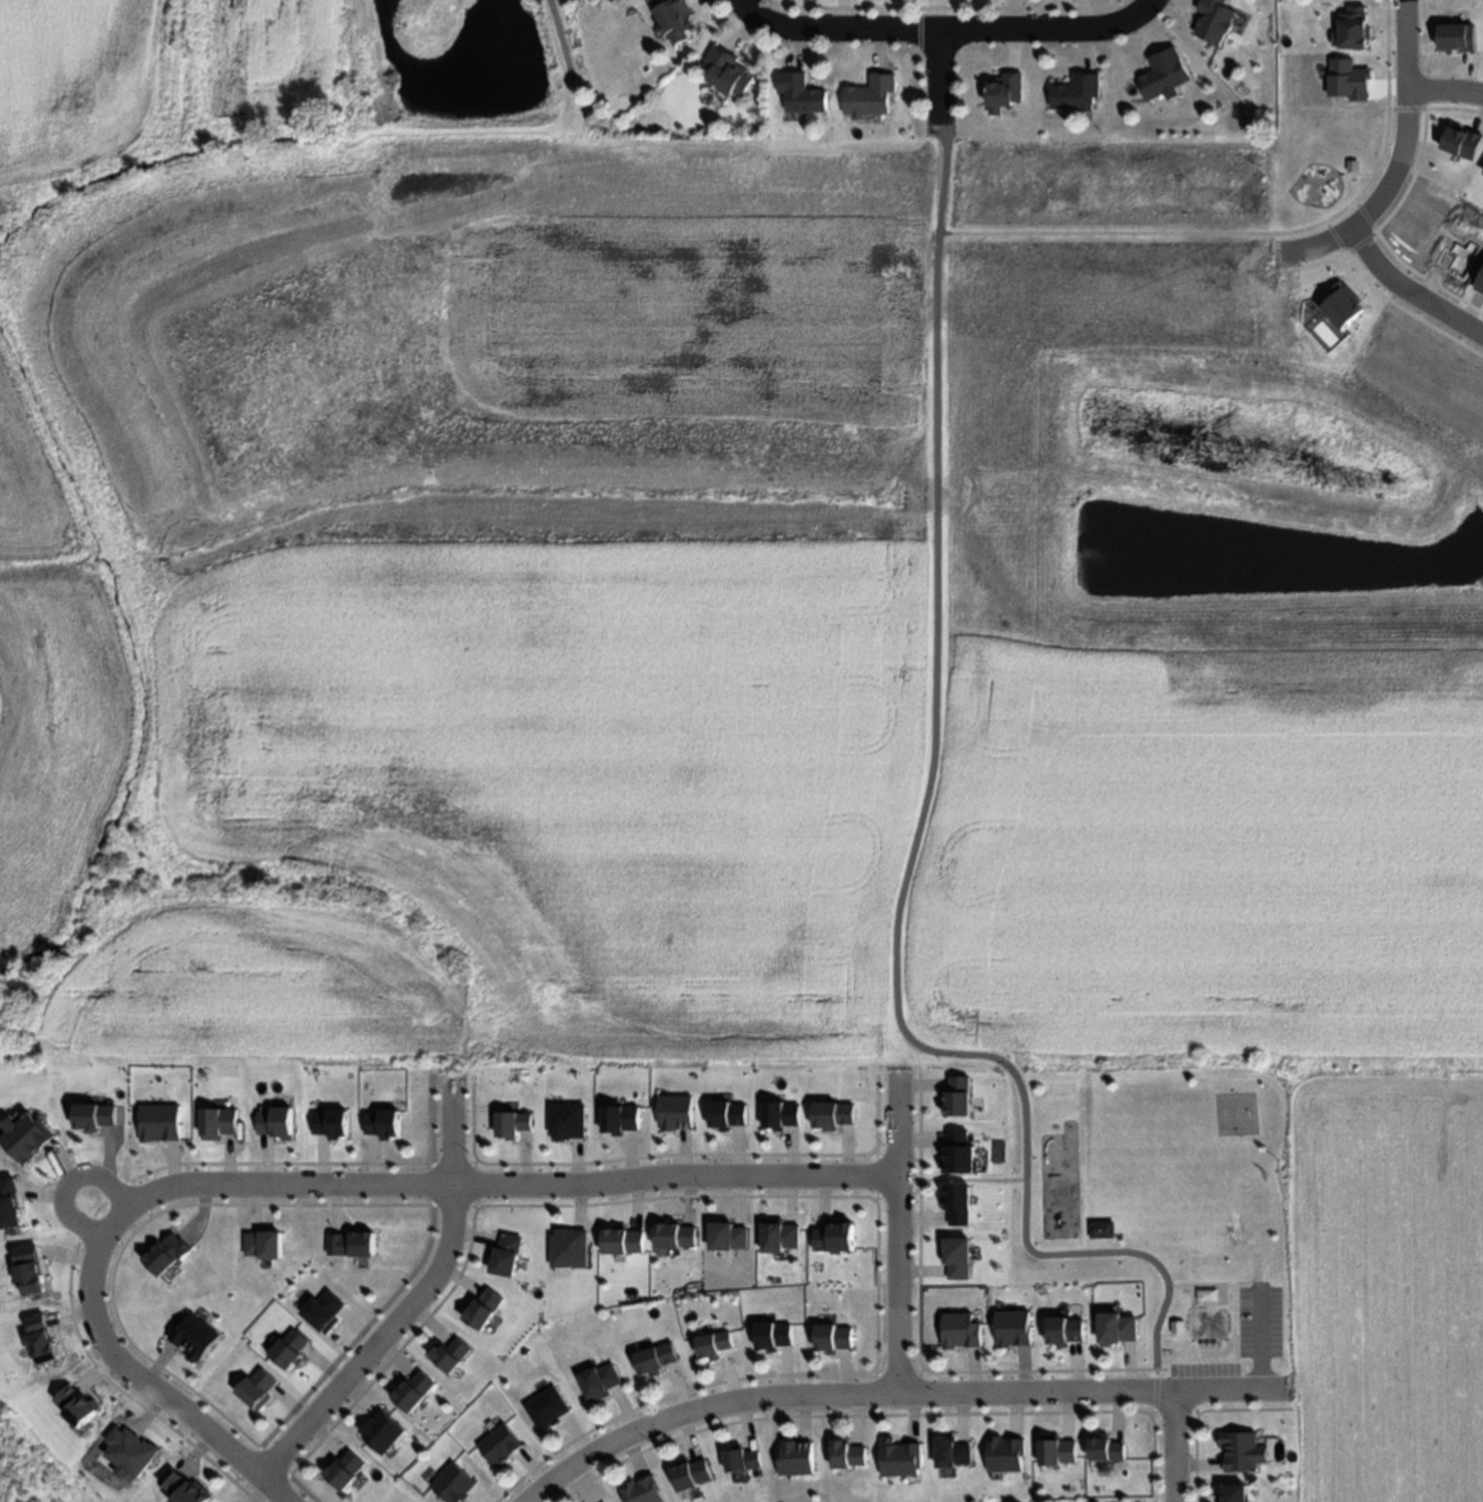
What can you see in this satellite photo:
road: (739, 3)
building: (677, 18)
building: (1210, 21)
road: (945, 32)
road: (561, 40)
building: (730, 72)
park: (459, 75)
building: (1157, 77)
road: (935, 78)
building: (1004, 92)
building: (1075, 92)
building: (802, 93)
building: (871, 95)
road: (1440, 96)
building: (1362, 142)
road: (1392, 155)
park: (1320, 160)
road: (23, 223)
road: (1261, 235)
road: (1415, 304)
road: (916, 861)
building: (954, 1090)
building: (673, 1107)
building: (722, 1109)
building: (777, 1109)
building: (829, 1110)
park: (1234, 1111)
building: (90, 1112)
building: (617, 1113)
building: (273, 1116)
building: (155, 1117)
building: (213, 1117)
building: (510, 1117)
building: (565, 1117)
building: (328, 1118)
building: (380, 1118)
building: (22, 1131)
building: (954, 1148)
park: (1148, 1162)
road: (69, 1185)
road: (501, 1194)
building: (953, 1197)
building: (8, 1199)
park: (1163, 1207)
building: (671, 1230)
building: (724, 1232)
building: (775, 1232)
building: (831, 1232)
building: (257, 1236)
building: (620, 1236)
building: (349, 1239)
road: (897, 1242)
building: (567, 1244)
building: (160, 1247)
building: (501, 1249)
building: (954, 1252)
building: (26, 1263)
crop: (1392, 1288)
building: (1118, 1293)
building: (479, 1305)
building: (318, 1306)
road: (418, 1309)
building: (1010, 1323)
building: (1114, 1323)
building: (957, 1326)
building: (1062, 1326)
building: (769, 1330)
building: (189, 1331)
building: (828, 1332)
building: (711, 1338)
building: (283, 1344)
building: (446, 1350)
building: (653, 1352)
road: (144, 1378)
building: (598, 1381)
building: (250, 1385)
building: (408, 1387)
road: (891, 1393)
building: (544, 1404)
building: (376, 1427)
building: (1102, 1444)
building: (127, 1445)
building: (501, 1445)
building: (1054, 1447)
building: (1235, 1447)
building: (947, 1448)
road: (1171, 1448)
building: (844, 1449)
building: (1001, 1449)
building: (791, 1453)
building: (739, 1454)
building: (895, 1454)
building: (339, 1465)
building: (690, 1474)
building: (450, 1479)
building: (180, 1484)
building: (644, 1491)
building: (1234, 1492)

